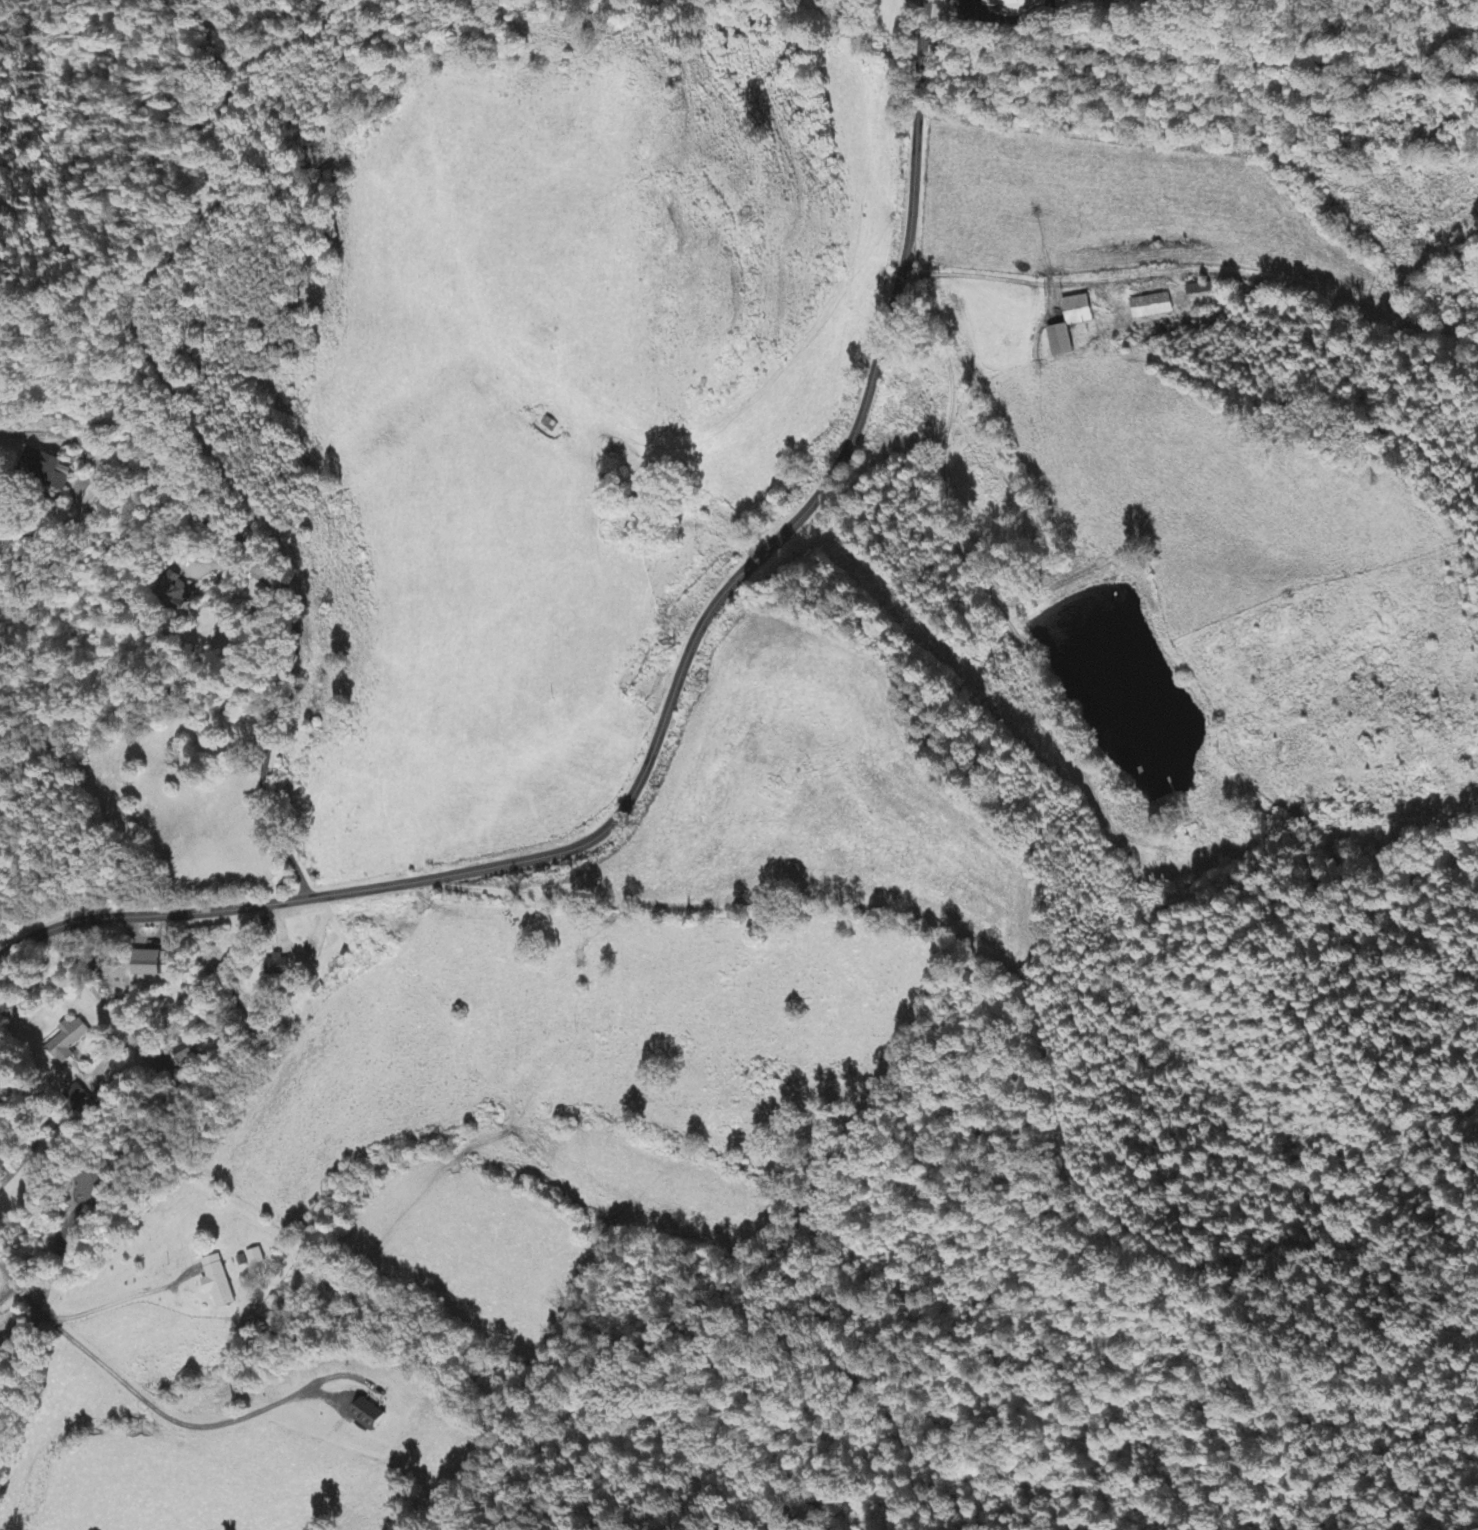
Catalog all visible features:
park: (1228, 2)
building: (1016, 4)
building: (1153, 307)
building: (1078, 311)
building: (1061, 341)
building: (46, 469)
building: (632, 534)
road: (248, 567)
road: (290, 581)
building: (179, 593)
road: (674, 709)
building: (149, 964)
building: (279, 967)
building: (67, 1043)
building: (77, 1097)
building: (88, 1189)
building: (255, 1259)
building: (218, 1283)
road: (35, 1320)
building: (370, 1416)

